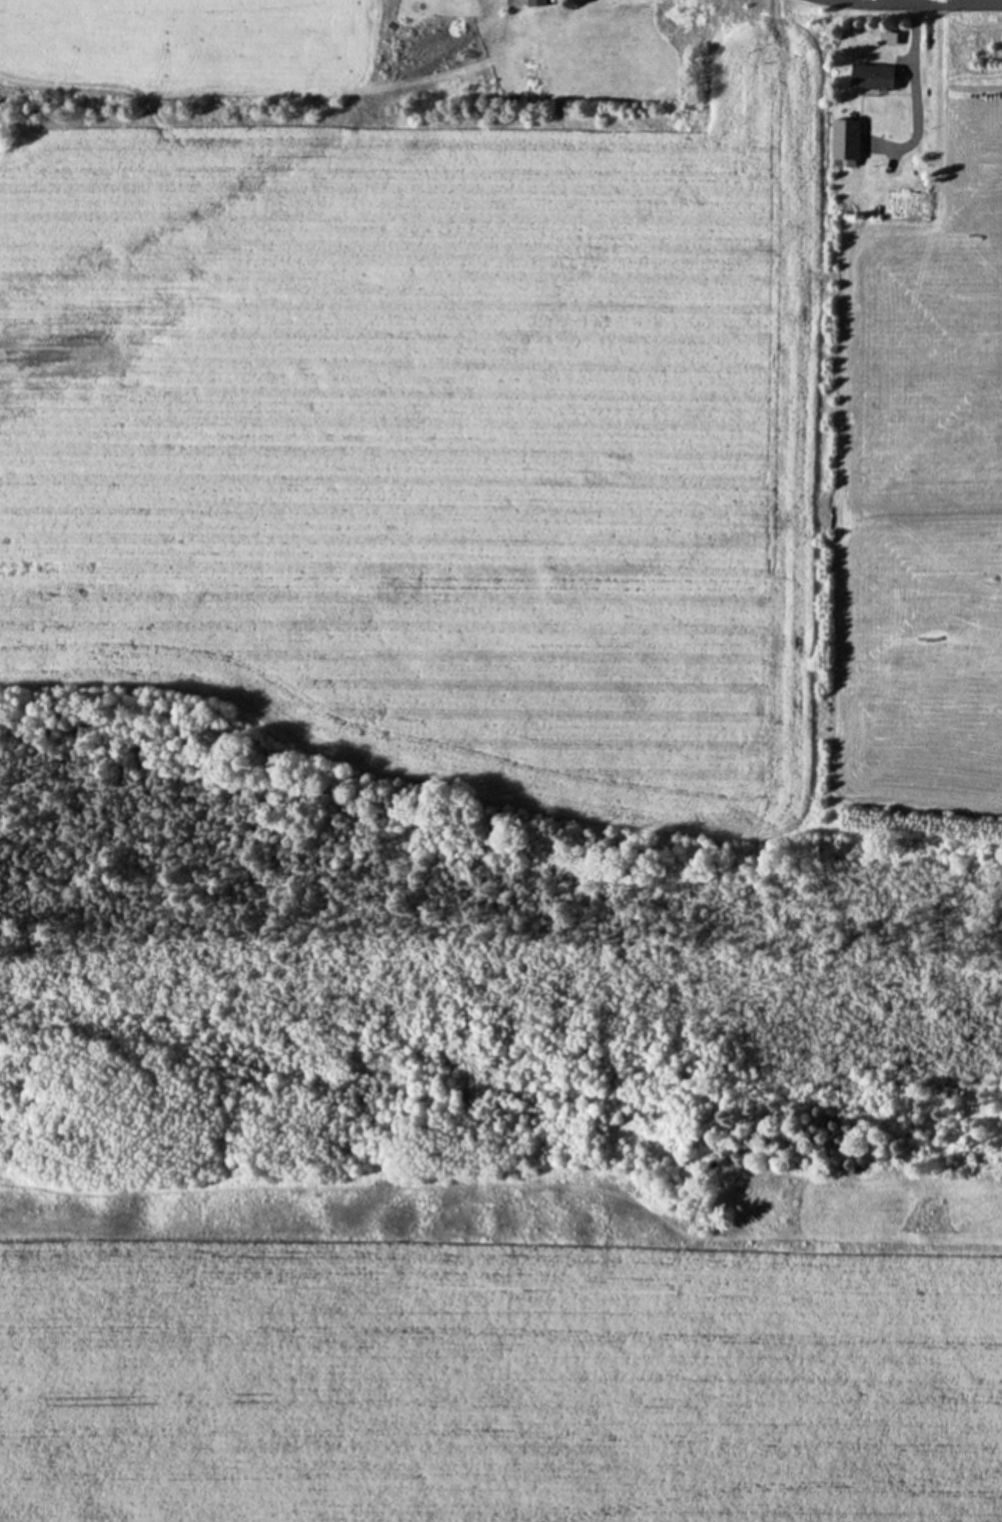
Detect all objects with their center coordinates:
road: (916, 3)
building: (867, 77)
road: (915, 84)
building: (842, 139)

